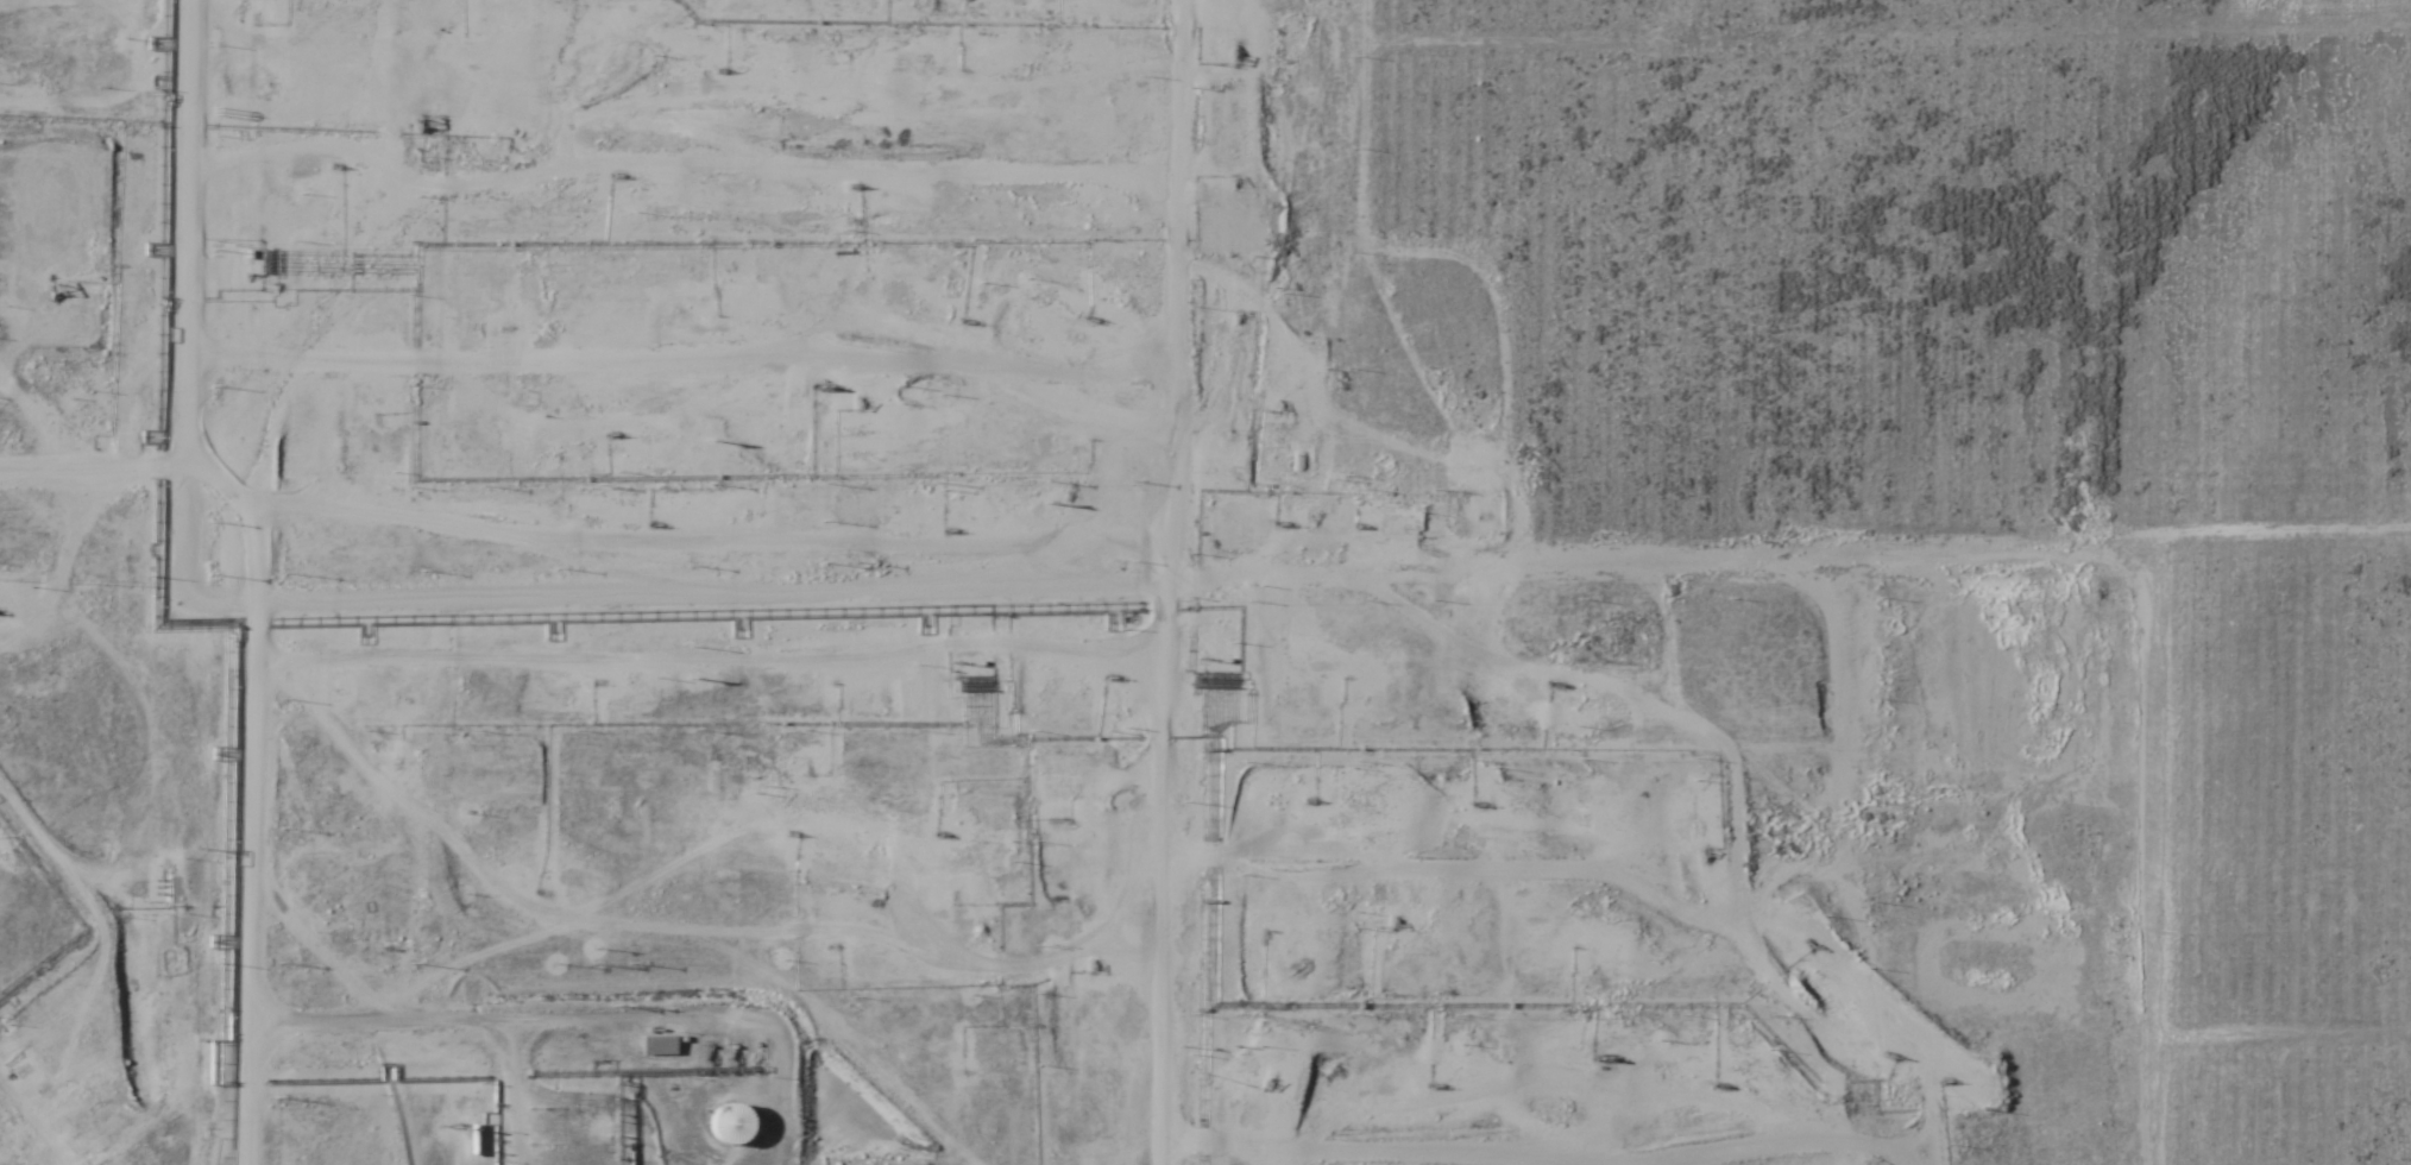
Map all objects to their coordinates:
road: (204, 32)
road: (201, 264)
road: (99, 466)
road: (1976, 495)
road: (1181, 582)
road: (33, 1131)

